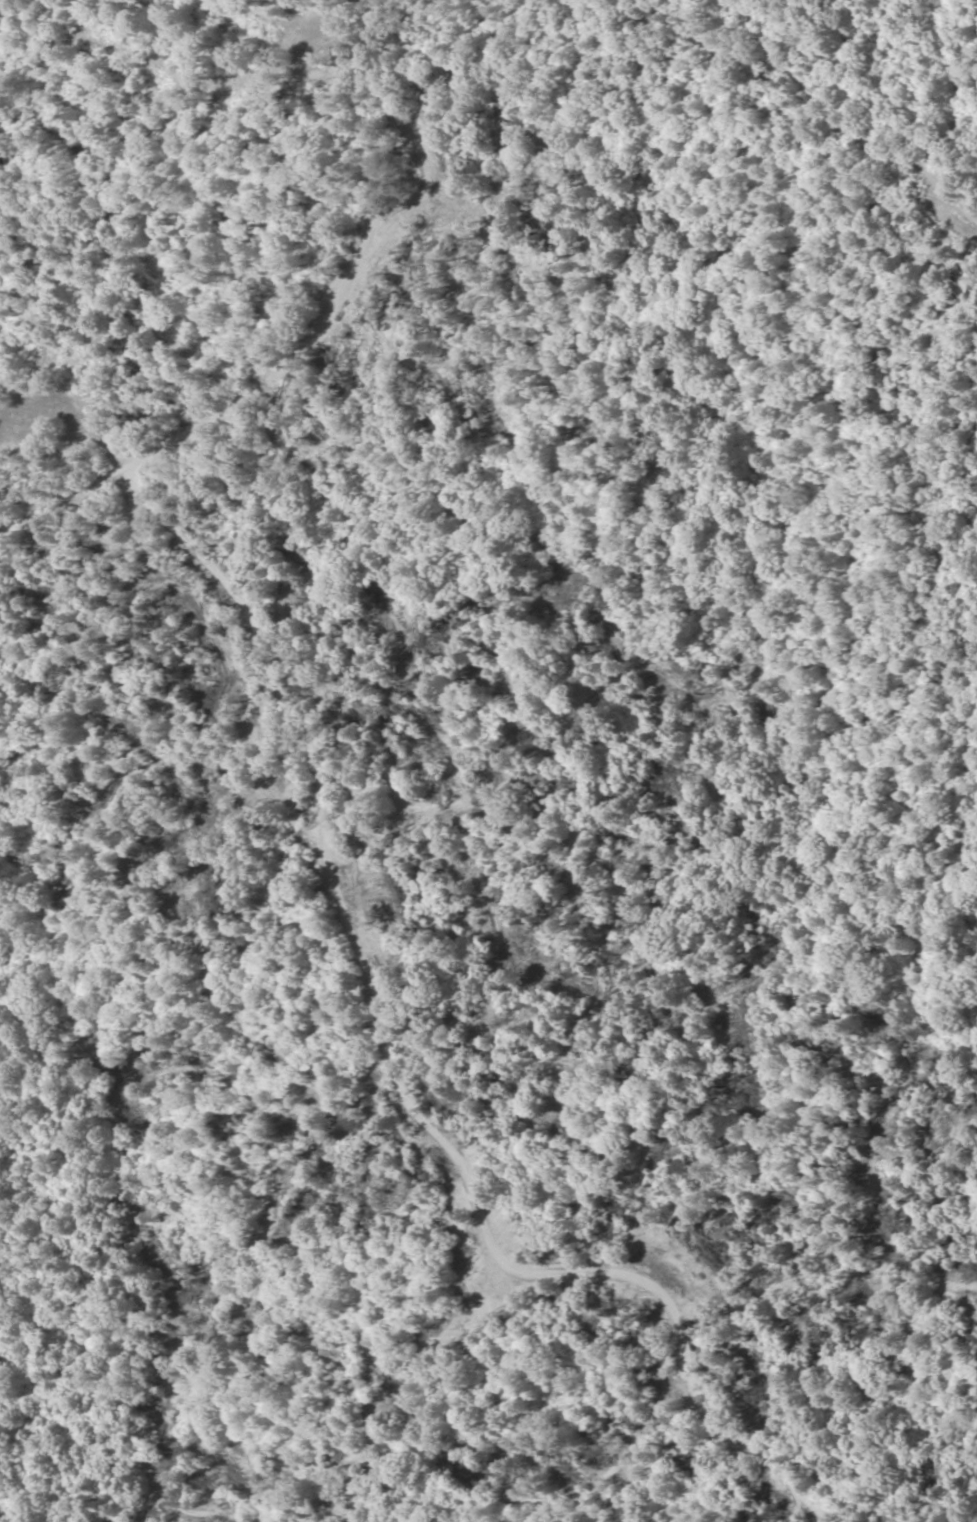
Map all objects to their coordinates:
road: (287, 345)

